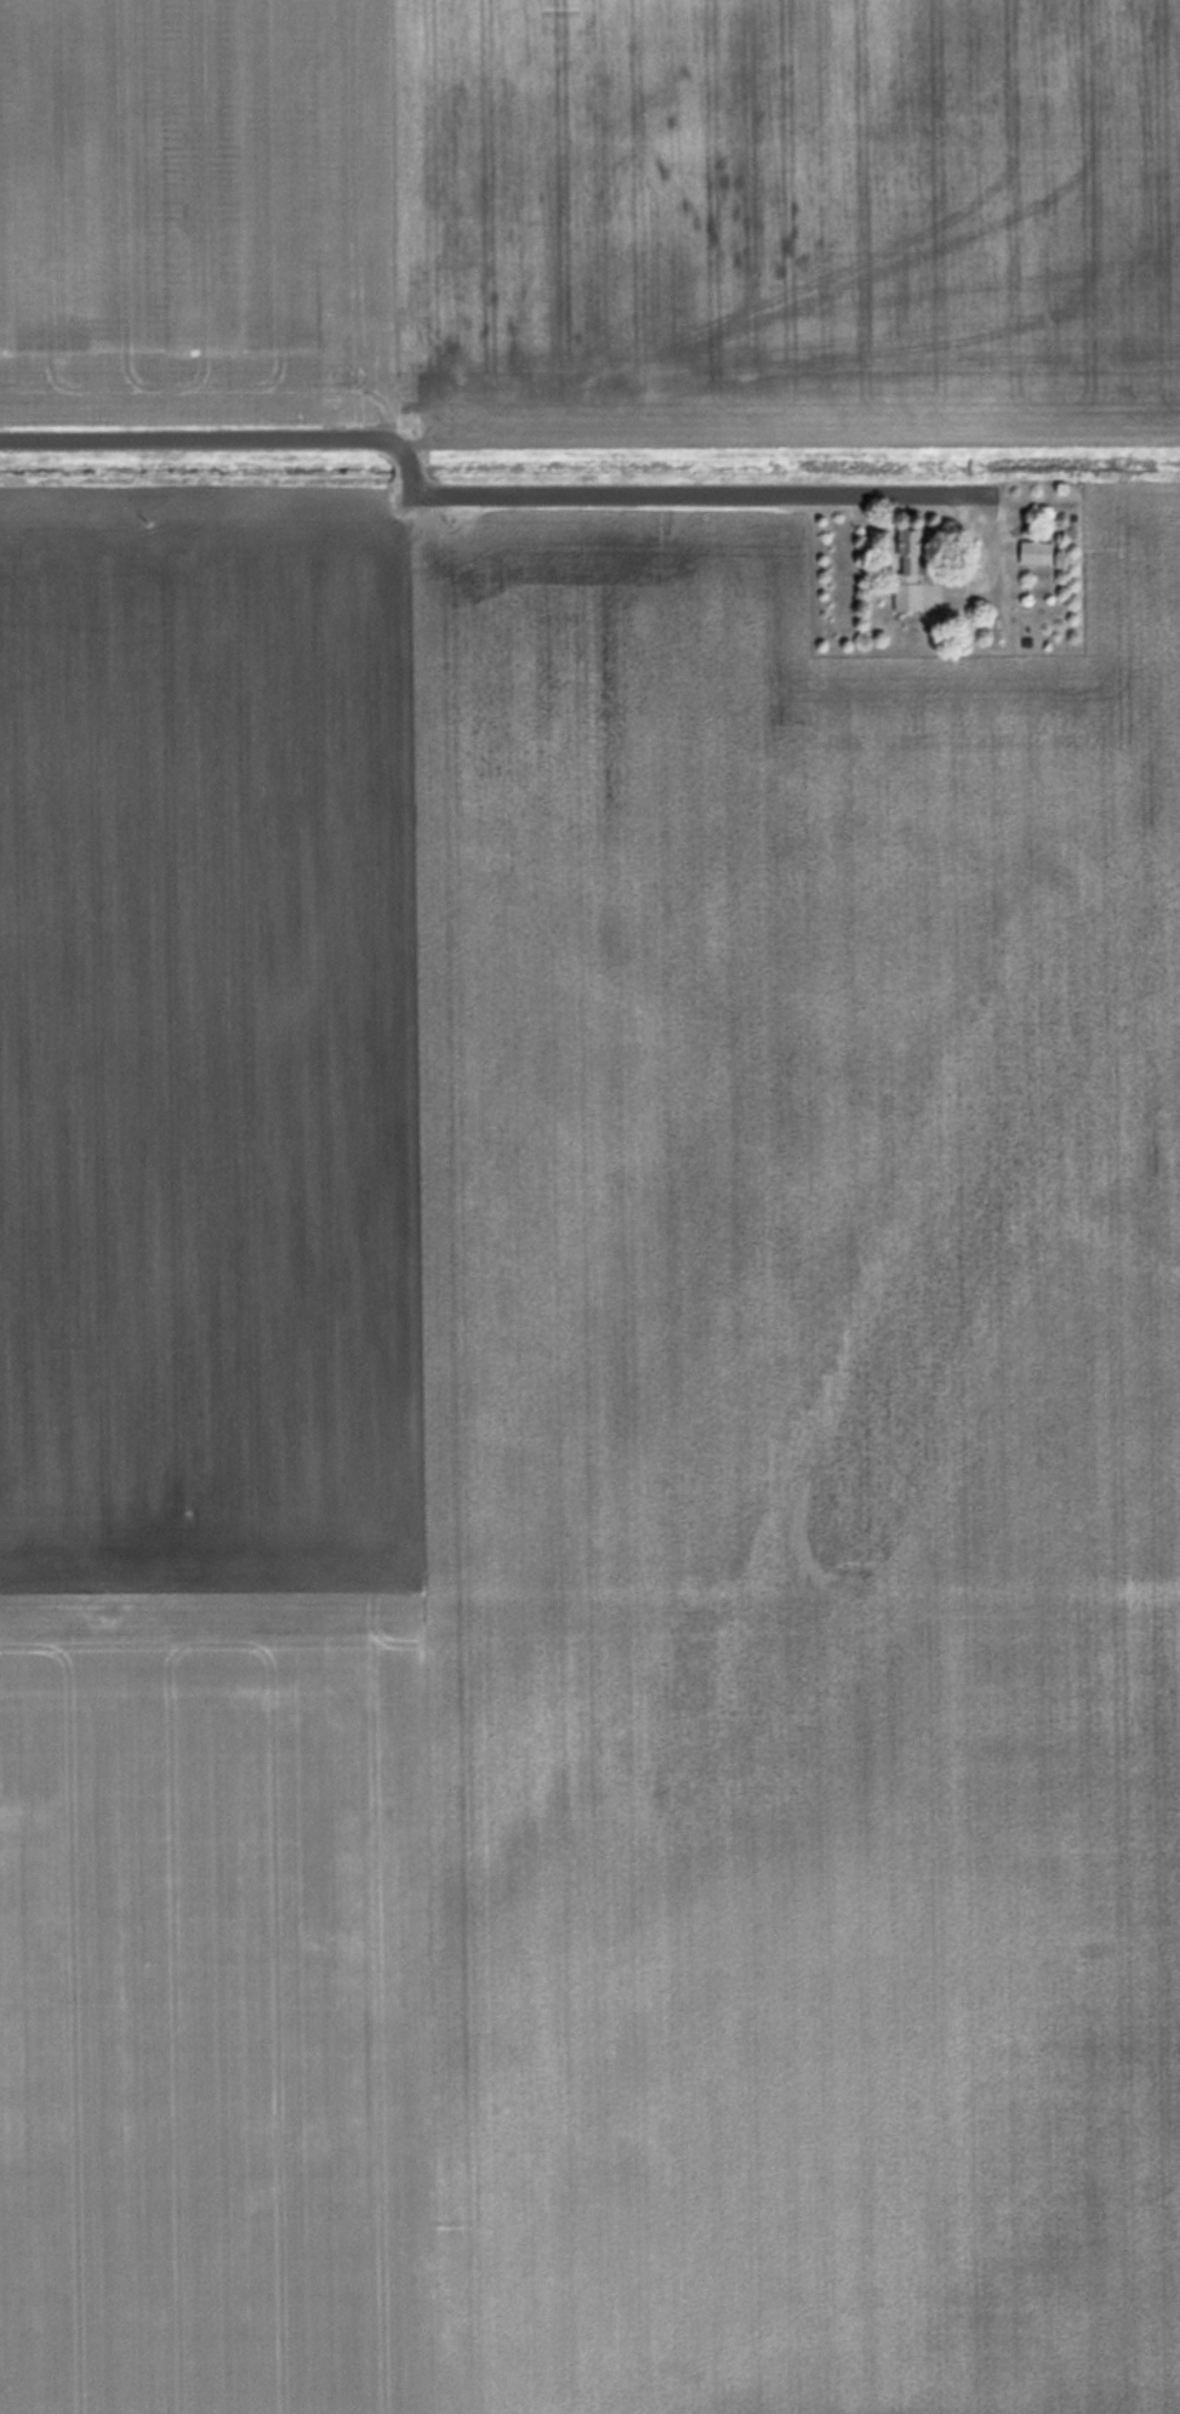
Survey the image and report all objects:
road: (515, 496)
building: (1030, 552)
building: (905, 568)

